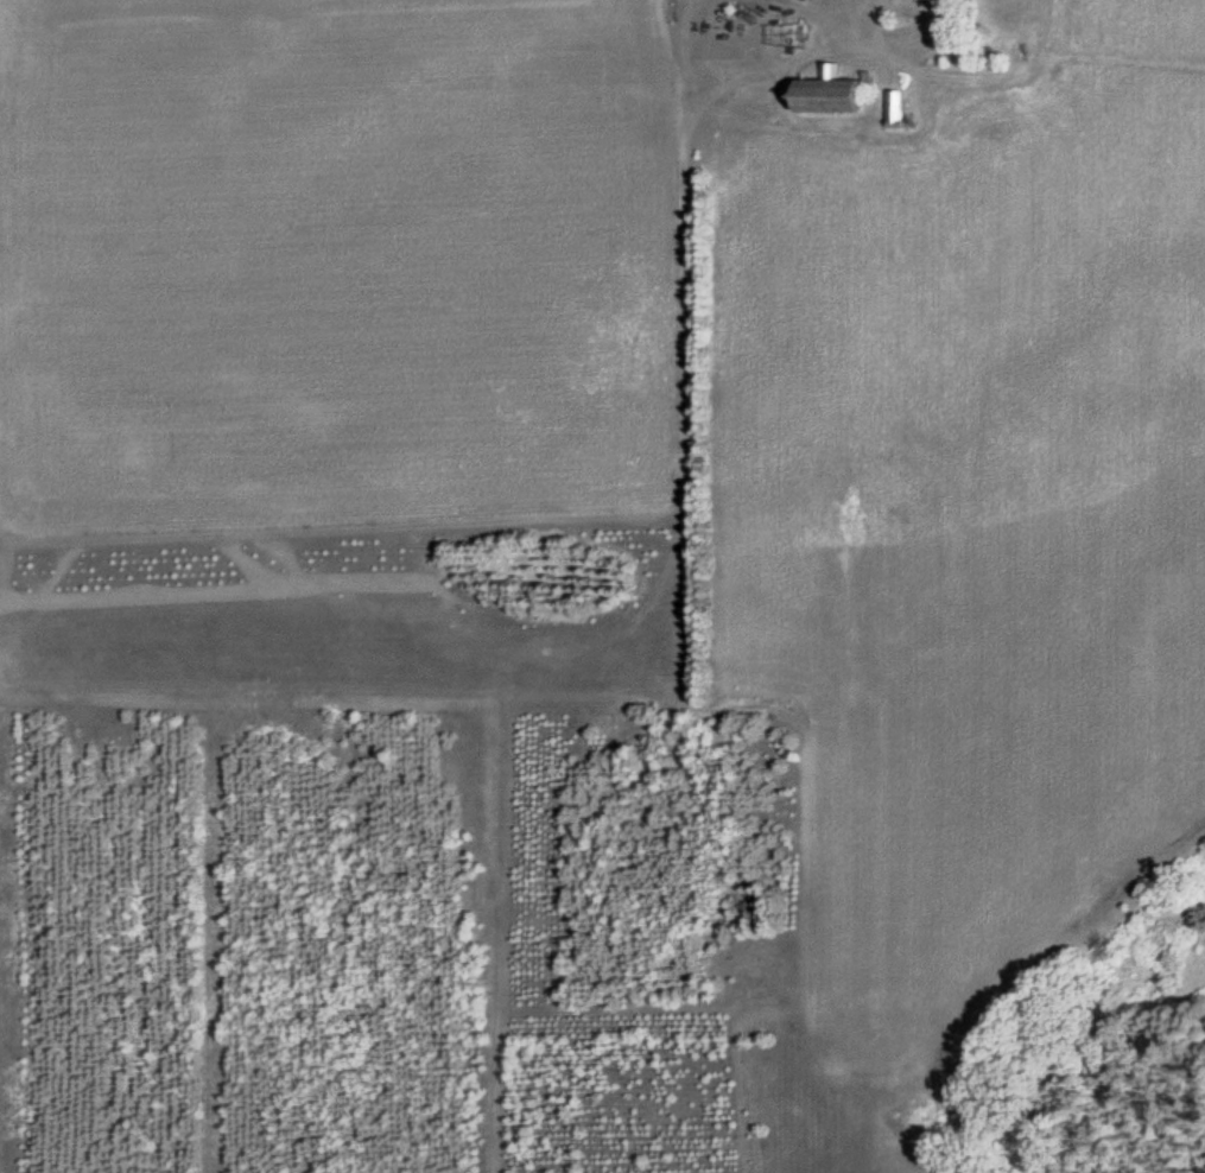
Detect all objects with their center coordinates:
building: (825, 93)
building: (895, 107)

